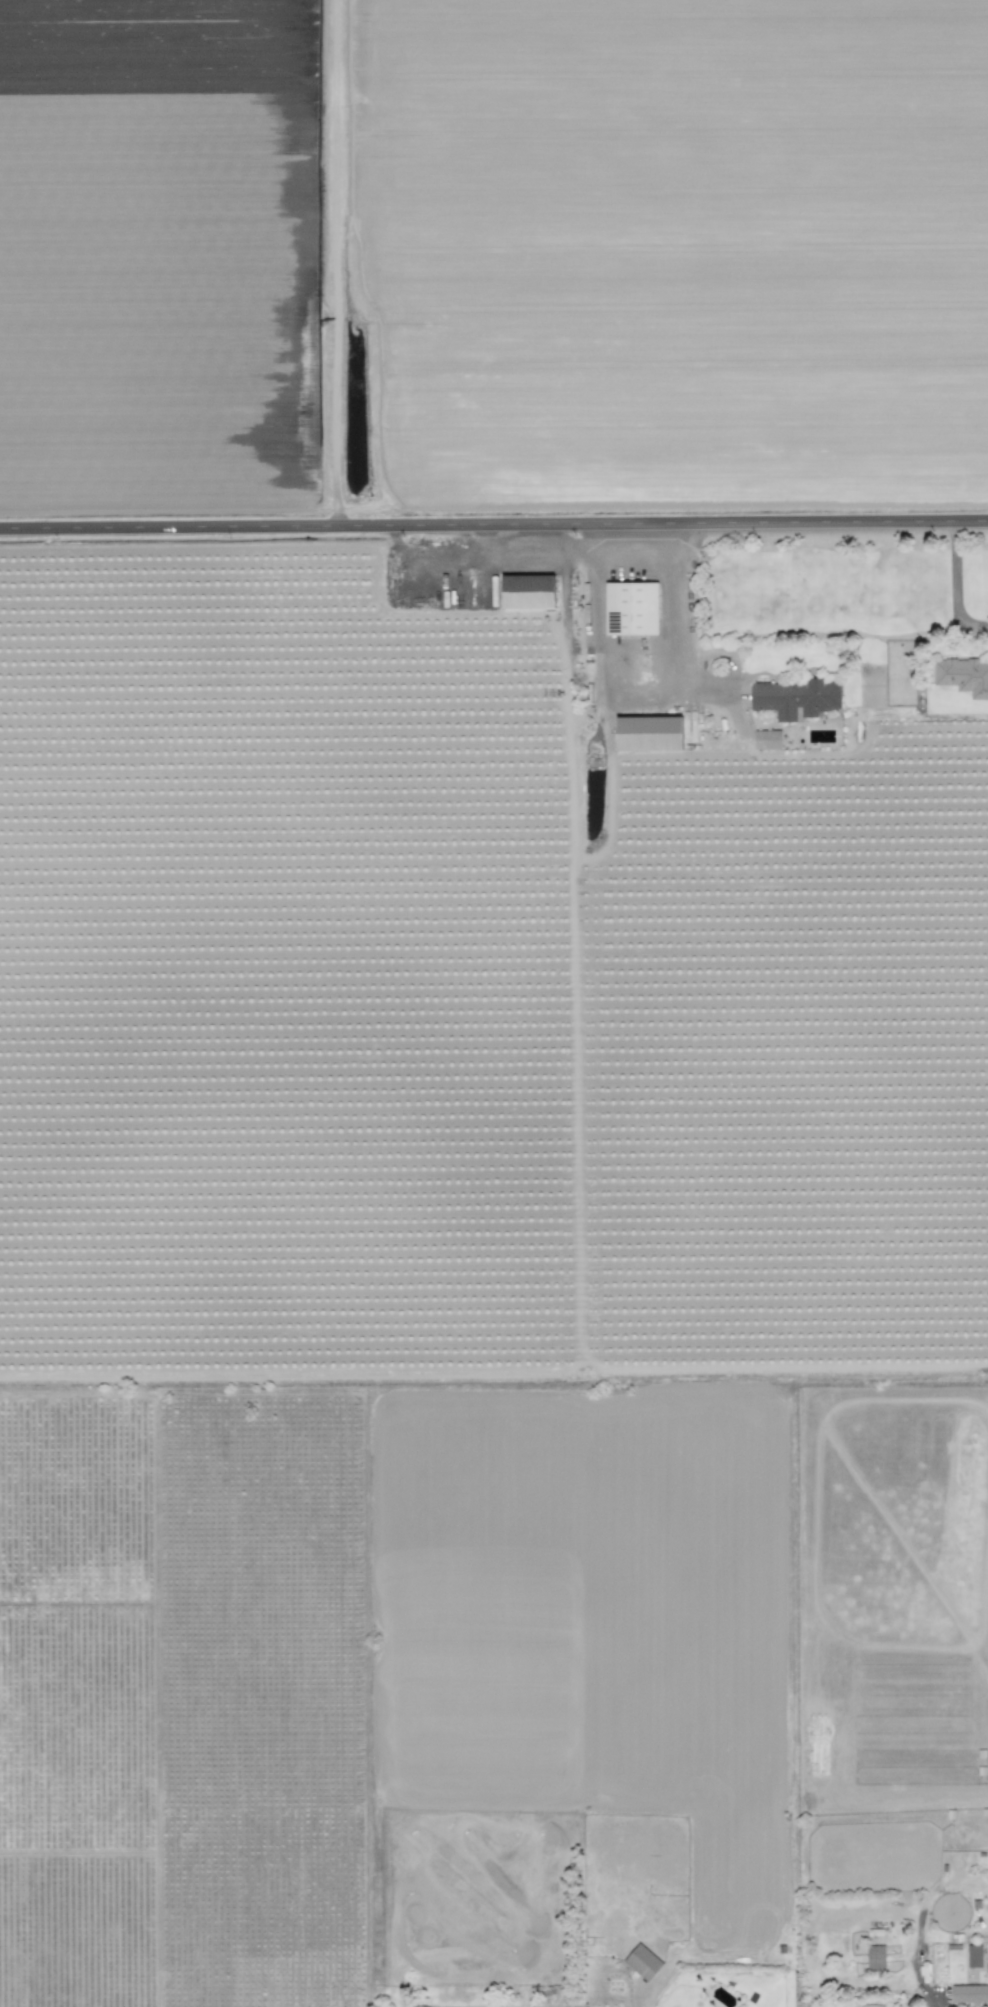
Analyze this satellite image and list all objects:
road: (494, 527)
road: (953, 587)
building: (527, 592)
building: (631, 609)
road: (668, 629)
building: (963, 677)
building: (795, 699)
building: (648, 734)
building: (767, 740)
building: (974, 1956)
building: (875, 1959)
building: (642, 1962)
building: (970, 1995)

